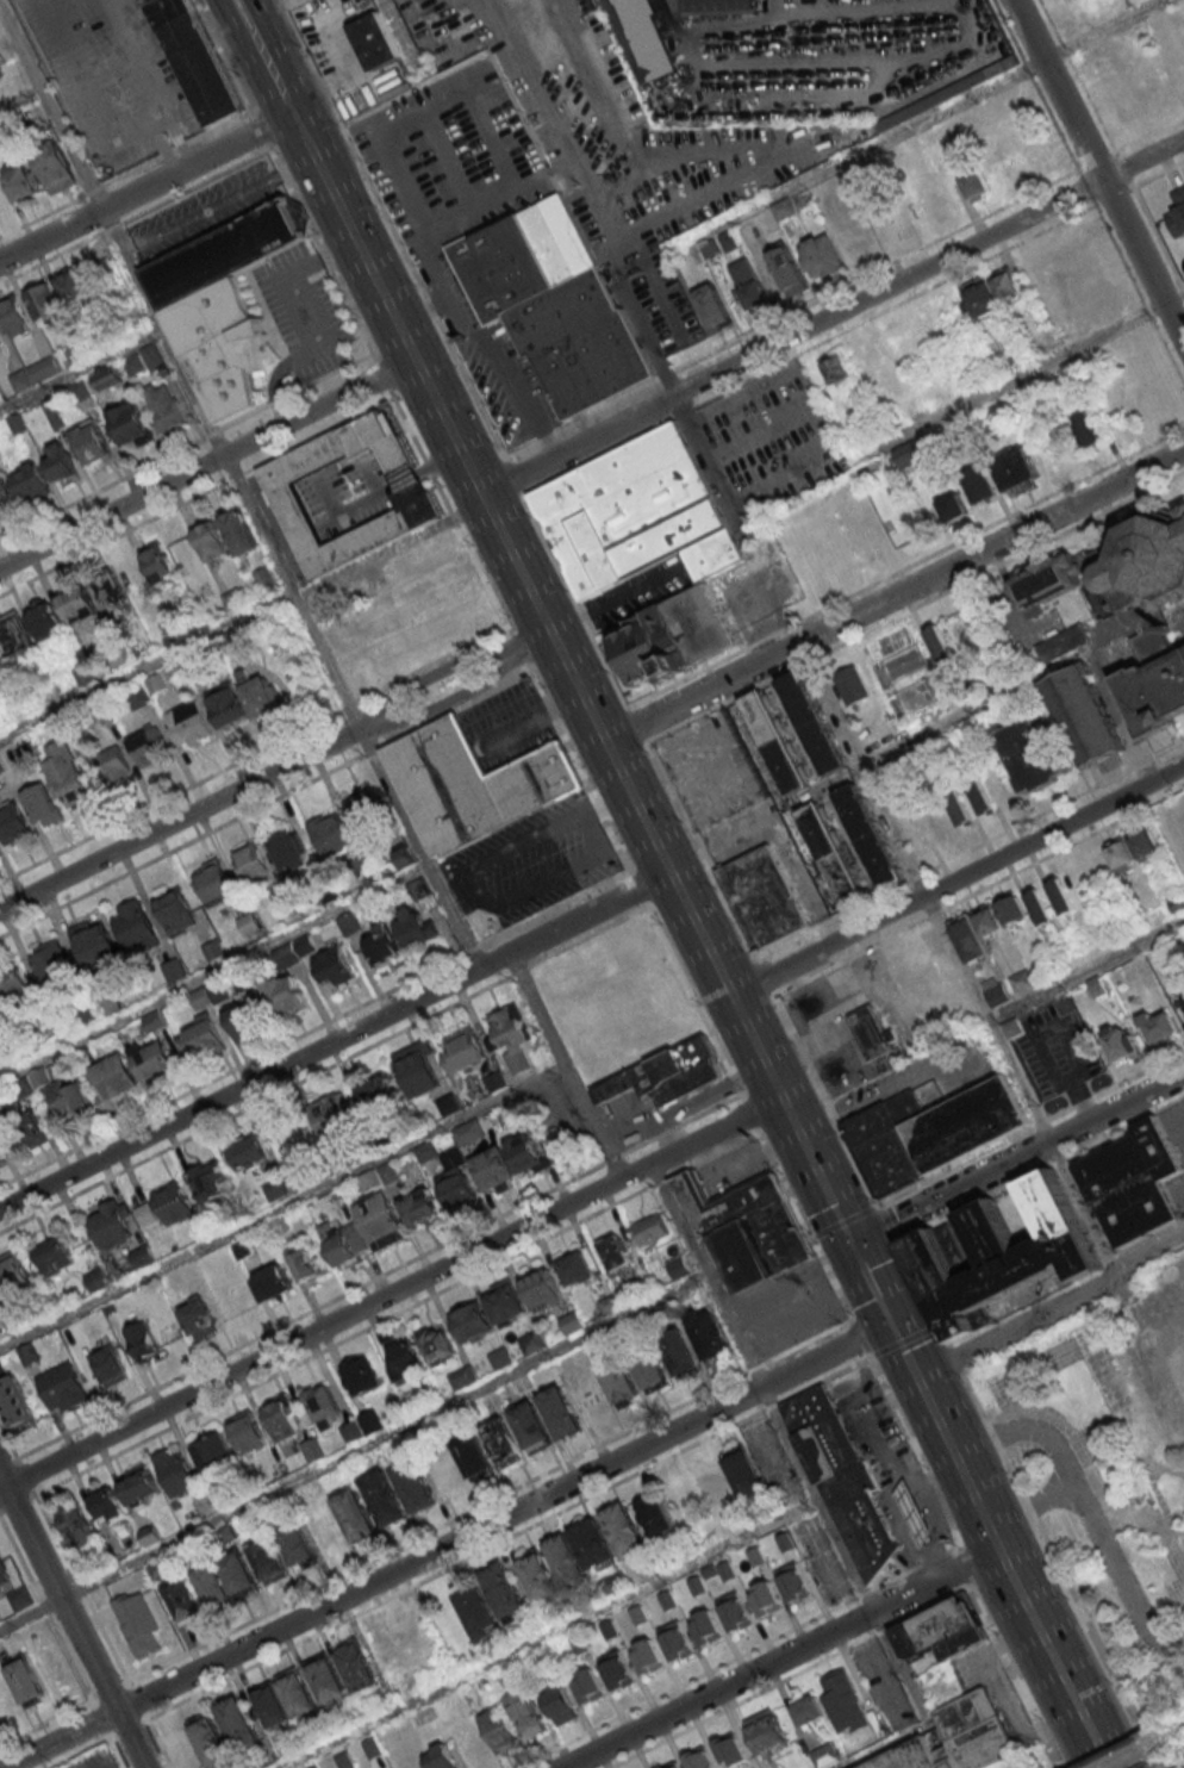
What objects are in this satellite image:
building: (708, 6)
road: (266, 25)
road: (235, 32)
road: (400, 33)
building: (641, 38)
building: (374, 41)
building: (199, 69)
road: (280, 82)
road: (20, 98)
road: (918, 122)
road: (154, 136)
road: (197, 161)
building: (55, 168)
road: (1097, 172)
building: (21, 180)
building: (976, 183)
road: (219, 205)
building: (783, 208)
building: (1176, 212)
road: (49, 235)
road: (356, 236)
building: (226, 251)
building: (821, 256)
building: (789, 270)
building: (749, 282)
building: (73, 285)
building: (995, 292)
road: (143, 297)
building: (45, 303)
building: (555, 306)
building: (713, 307)
road: (834, 316)
building: (14, 317)
building: (1, 338)
building: (224, 345)
building: (152, 356)
road: (491, 356)
road: (1045, 361)
road: (80, 368)
building: (837, 368)
building: (35, 373)
building: (163, 407)
road: (320, 407)
road: (451, 425)
building: (131, 427)
building: (1085, 429)
building: (92, 444)
building: (911, 454)
building: (61, 462)
building: (1017, 472)
building: (31, 483)
building: (977, 483)
building: (349, 492)
building: (7, 493)
building: (953, 506)
road: (112, 511)
building: (635, 516)
building: (238, 533)
building: (211, 541)
building: (157, 564)
building: (1115, 566)
building: (263, 578)
building: (110, 590)
road: (282, 593)
road: (896, 593)
building: (232, 599)
building: (77, 604)
building: (44, 617)
building: (17, 634)
building: (677, 637)
road: (536, 641)
building: (939, 641)
building: (1061, 642)
road: (441, 672)
road: (1037, 681)
building: (1155, 683)
building: (852, 685)
building: (917, 693)
building: (137, 697)
building: (260, 697)
road: (454, 699)
building: (226, 705)
building: (1083, 715)
building: (812, 722)
building: (188, 723)
building: (774, 742)
building: (147, 745)
building: (1033, 754)
building: (114, 764)
building: (0, 771)
building: (69, 777)
building: (472, 784)
road: (634, 795)
building: (980, 796)
road: (605, 799)
building: (42, 805)
building: (959, 807)
building: (369, 811)
road: (188, 816)
building: (13, 822)
building: (329, 833)
building: (870, 835)
building: (1133, 848)
building: (288, 849)
building: (401, 855)
building: (833, 855)
building: (251, 860)
road: (959, 879)
building: (214, 882)
road: (635, 882)
road: (717, 884)
building: (419, 889)
building: (1061, 895)
building: (761, 897)
road: (481, 899)
building: (1040, 907)
building: (1012, 909)
building: (175, 911)
building: (249, 923)
building: (349, 923)
building: (136, 927)
building: (415, 927)
building: (976, 932)
road: (264, 942)
building: (95, 944)
building: (381, 944)
road: (958, 958)
building: (51, 963)
building: (334, 967)
building: (175, 969)
road: (1086, 971)
building: (1021, 981)
building: (14, 985)
building: (283, 995)
building: (1183, 1003)
road: (537, 1011)
building: (243, 1021)
building: (1158, 1027)
building: (872, 1033)
road: (336, 1039)
building: (511, 1039)
building: (200, 1040)
building: (1120, 1044)
building: (463, 1051)
building: (152, 1058)
building: (417, 1070)
building: (665, 1075)
building: (114, 1081)
building: (375, 1092)
building: (69, 1098)
building: (331, 1115)
building: (31, 1127)
building: (936, 1140)
building: (248, 1152)
road: (1017, 1157)
building: (510, 1162)
road: (818, 1169)
building: (210, 1178)
building: (300, 1179)
road: (337, 1182)
building: (456, 1187)
building: (1133, 1187)
building: (275, 1188)
building: (174, 1202)
building: (420, 1206)
building: (379, 1220)
building: (112, 1225)
building: (744, 1227)
building: (650, 1231)
traffic signals: (853, 1241)
building: (345, 1244)
building: (1002, 1253)
building: (55, 1255)
building: (615, 1255)
building: (306, 1260)
building: (679, 1268)
building: (577, 1269)
building: (13, 1277)
building: (272, 1282)
road: (873, 1282)
building: (543, 1289)
road: (392, 1293)
building: (505, 1301)
road: (1160, 1306)
road: (1057, 1313)
building: (198, 1318)
building: (473, 1321)
traffic signals: (893, 1322)
road: (735, 1330)
building: (709, 1336)
building: (142, 1340)
building: (532, 1341)
building: (437, 1343)
building: (679, 1350)
road: (906, 1350)
road: (1138, 1356)
building: (1179, 1357)
building: (404, 1358)
building: (110, 1367)
building: (650, 1369)
building: (362, 1376)
building: (619, 1381)
building: (62, 1387)
road: (1003, 1393)
building: (322, 1402)
building: (17, 1405)
building: (561, 1413)
building: (283, 1419)
road: (1097, 1425)
building: (532, 1427)
road: (946, 1431)
building: (248, 1432)
building: (501, 1440)
building: (313, 1449)
road: (354, 1451)
building: (214, 1452)
building: (473, 1455)
building: (175, 1471)
building: (744, 1474)
building: (846, 1480)
building: (138, 1484)
building: (413, 1486)
building: (712, 1489)
road: (1152, 1493)
building: (384, 1498)
building: (106, 1502)
road: (1033, 1505)
road: (1088, 1507)
building: (355, 1514)
building: (656, 1514)
building: (917, 1515)
building: (74, 1524)
road: (1173, 1524)
building: (324, 1525)
building: (625, 1531)
road: (997, 1540)
building: (297, 1544)
building: (592, 1544)
road: (448, 1545)
building: (268, 1560)
building: (566, 1560)
building: (239, 1574)
building: (4, 1576)
building: (538, 1577)
building: (793, 1583)
building: (213, 1585)
building: (20, 1598)
building: (182, 1598)
building: (766, 1599)
building: (490, 1601)
road: (603, 1605)
road: (1176, 1605)
road: (71, 1623)
building: (138, 1623)
building: (935, 1626)
building: (960, 1643)
road: (781, 1657)
building: (357, 1666)
building: (326, 1676)
building: (26, 1681)
road: (1066, 1682)
building: (285, 1700)
building: (843, 1702)
building: (559, 1704)
building: (526, 1711)
road: (923, 1711)
building: (238, 1724)
building: (499, 1727)
building: (972, 1730)
building: (210, 1742)
building: (936, 1745)
building: (440, 1756)
building: (910, 1757)
building: (1173, 1767)

